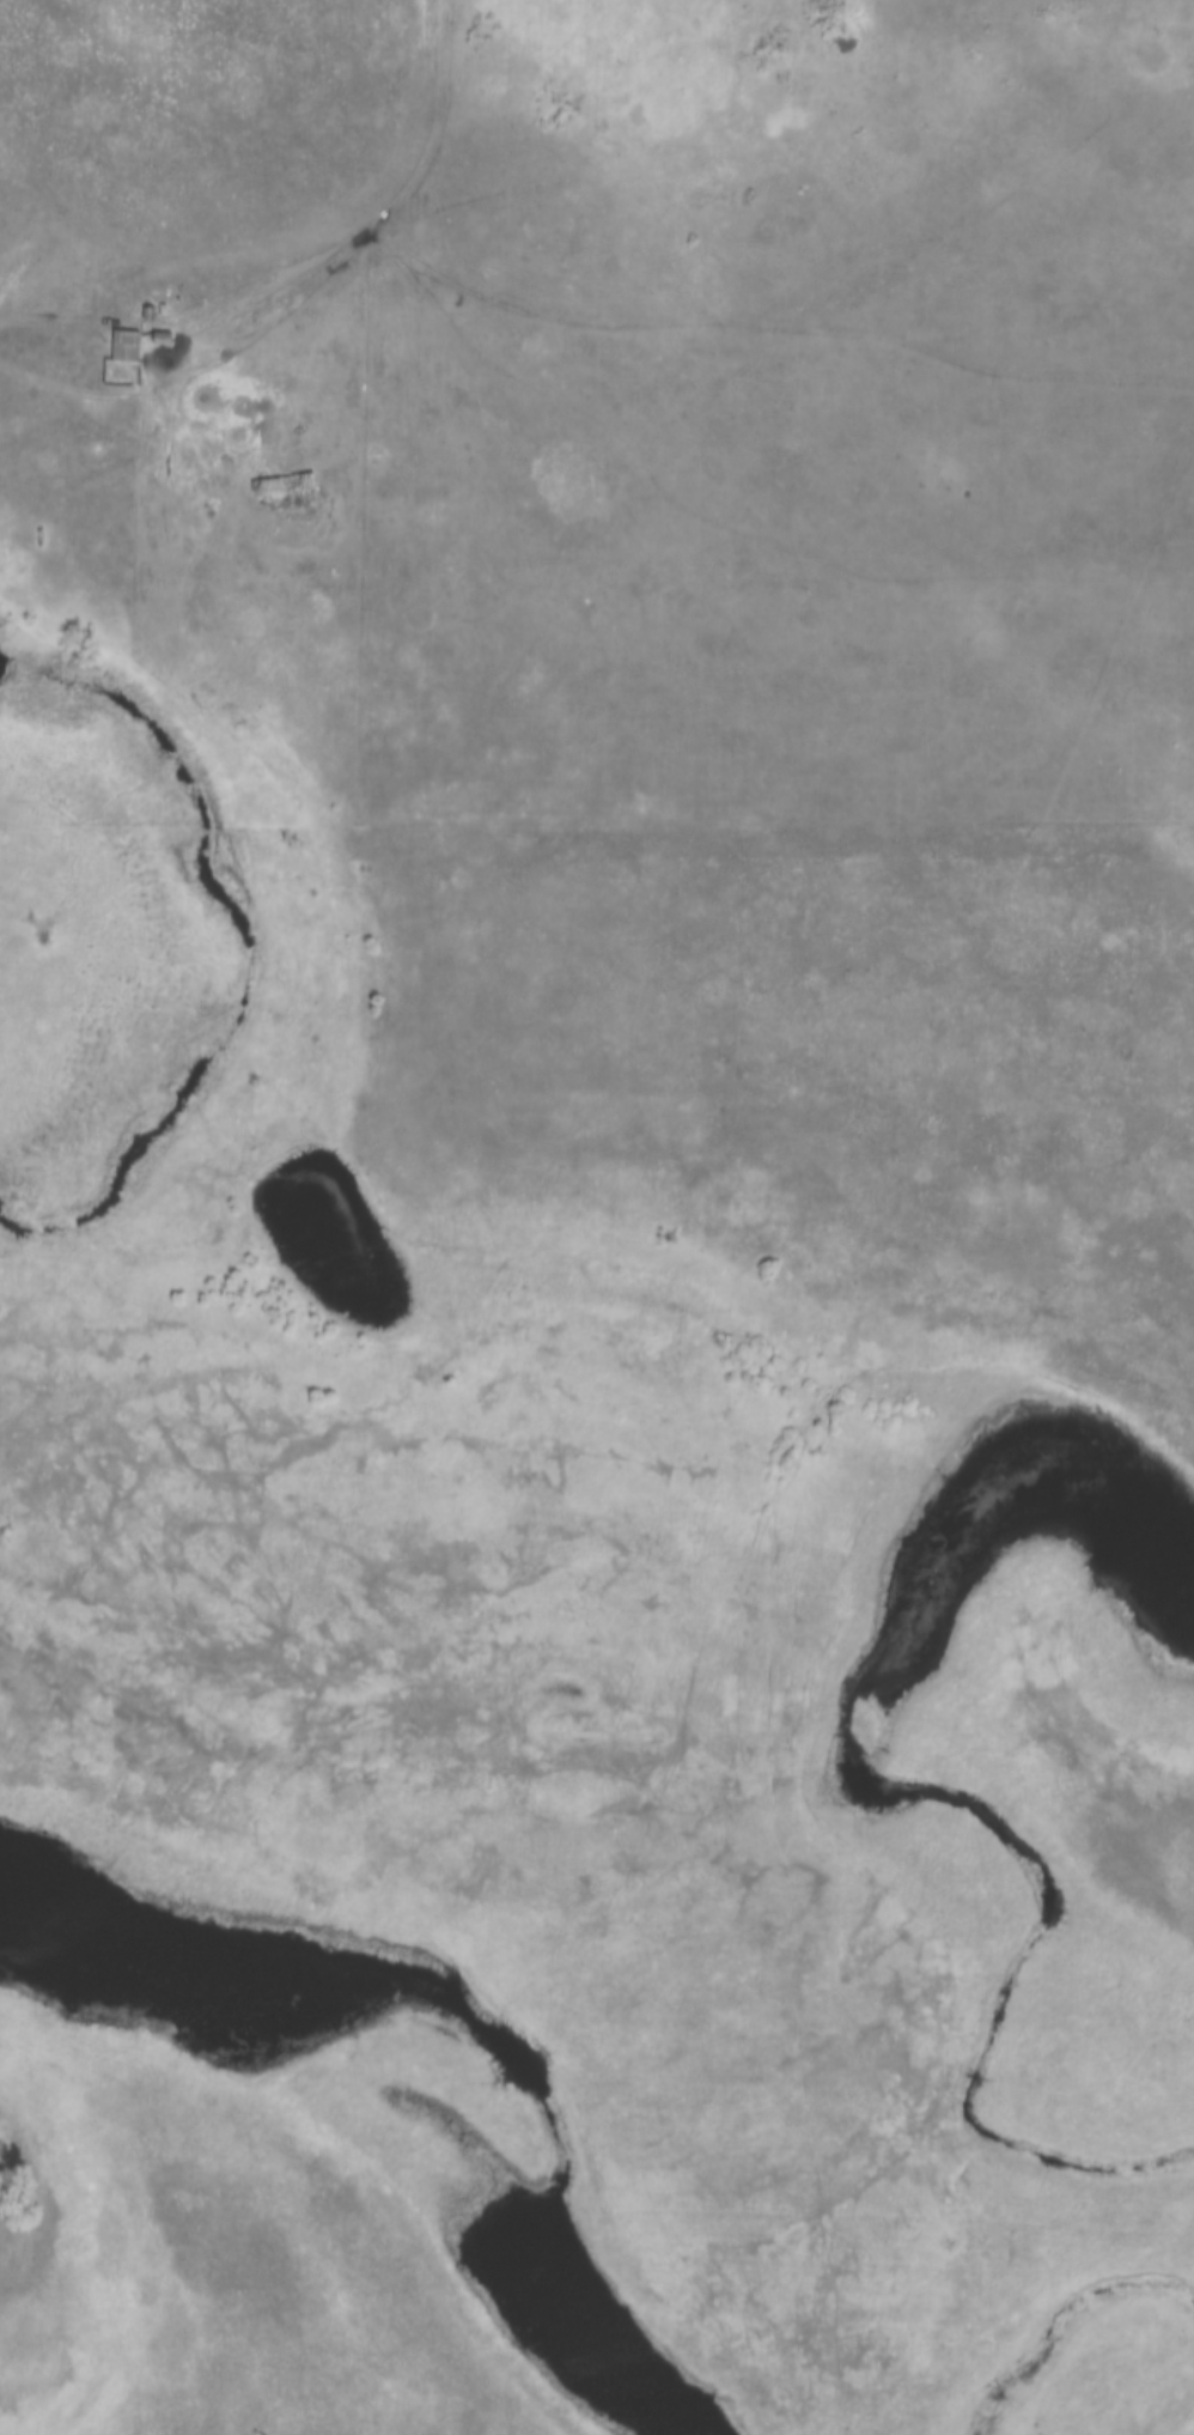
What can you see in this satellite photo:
track: (377, 130)
building: (167, 290)
building: (123, 344)

